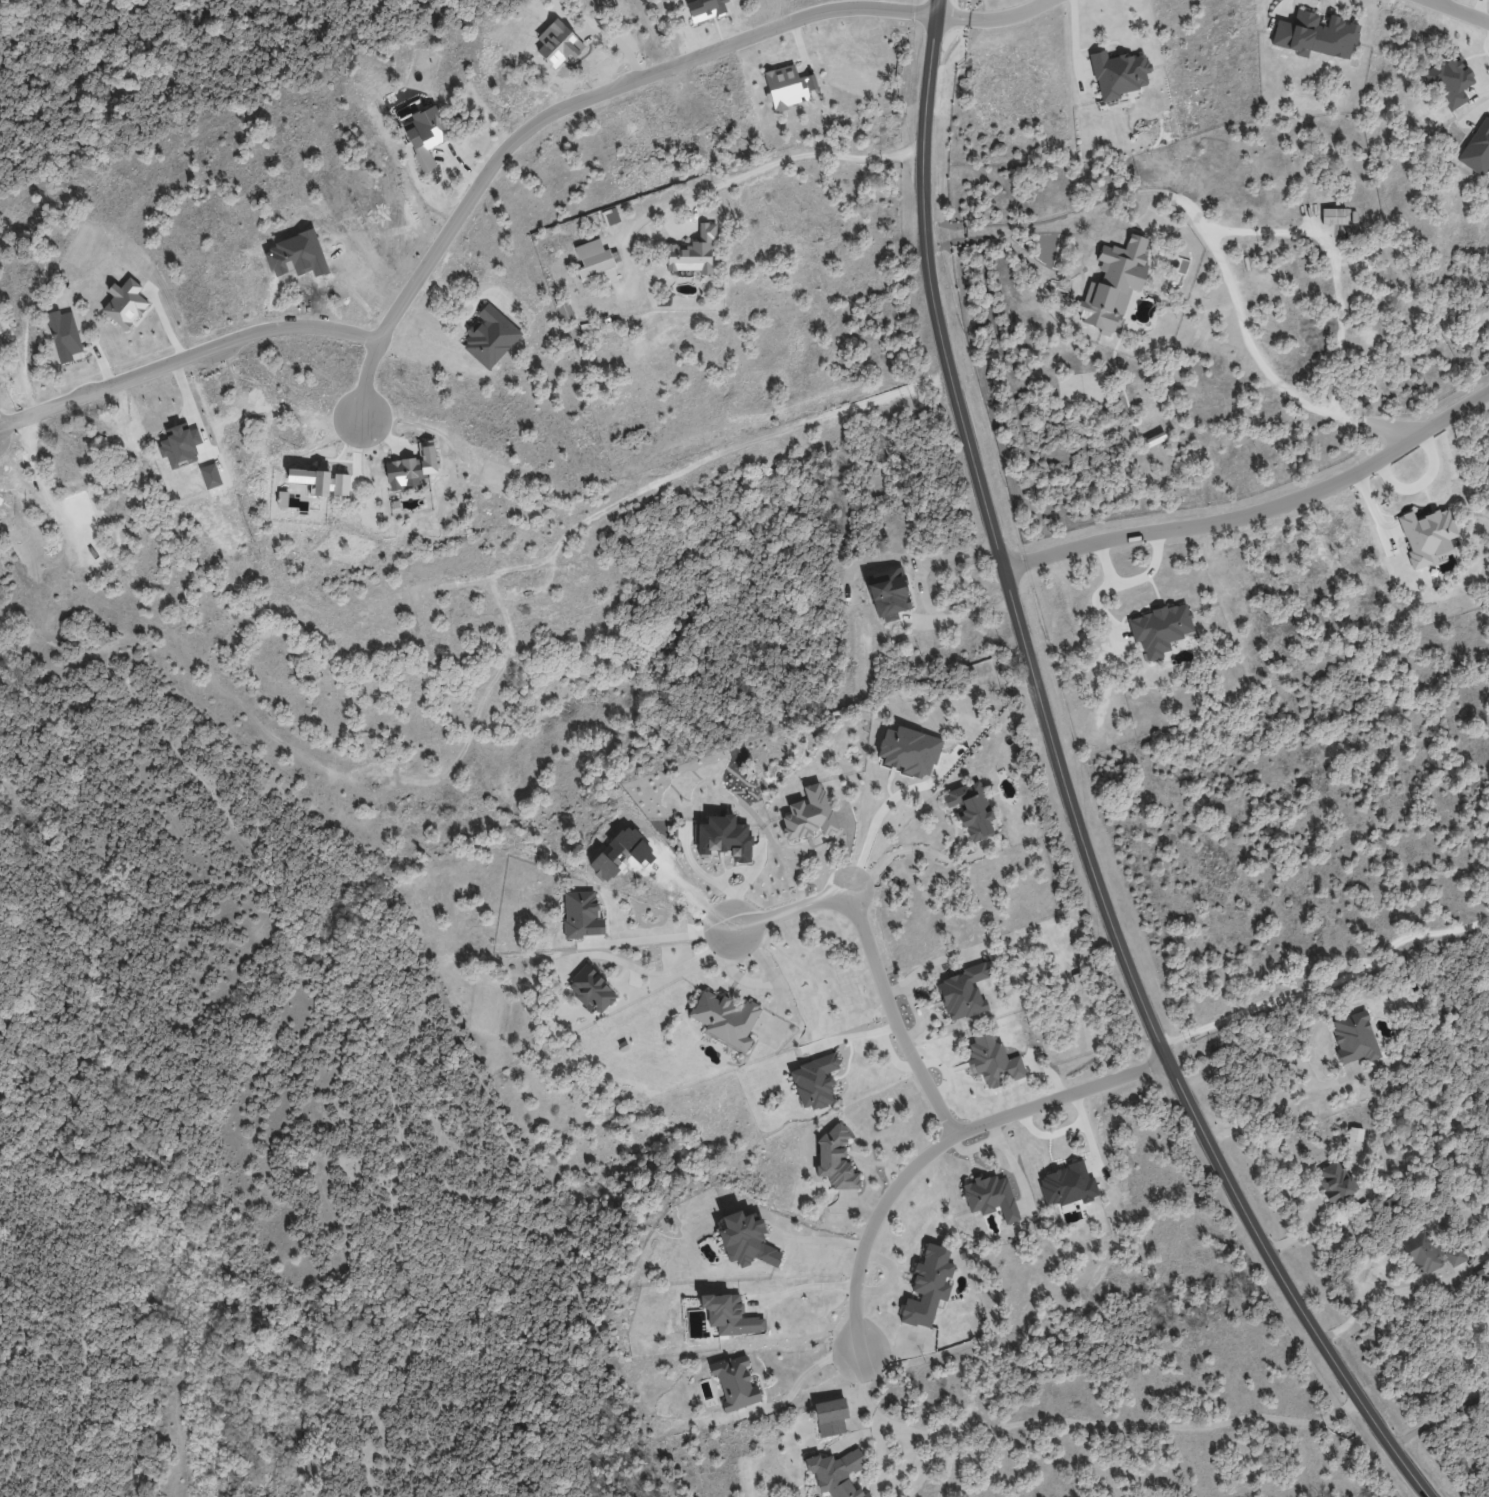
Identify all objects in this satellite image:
building: (705, 9)
road: (1458, 10)
building: (1315, 35)
building: (1118, 73)
building: (1448, 80)
road: (616, 86)
building: (785, 87)
building: (426, 136)
building: (1477, 149)
road: (768, 164)
building: (610, 216)
road: (1211, 239)
building: (693, 253)
building: (594, 257)
building: (1113, 284)
building: (125, 303)
building: (564, 310)
building: (65, 336)
road: (185, 357)
building: (411, 467)
road: (1257, 510)
building: (1426, 535)
building: (888, 593)
road: (922, 593)
building: (1159, 628)
road: (1065, 785)
road: (883, 804)
building: (971, 810)
building: (808, 814)
building: (724, 838)
road: (918, 847)
building: (582, 915)
road: (672, 933)
road: (874, 956)
road: (659, 971)
road: (2, 981)
road: (1327, 984)
building: (591, 989)
building: (963, 992)
building: (724, 1017)
road: (849, 1036)
building: (1354, 1037)
road: (891, 1054)
building: (993, 1061)
building: (814, 1082)
road: (1283, 1101)
building: (1355, 1134)
road: (937, 1145)
park: (259, 1148)
building: (835, 1160)
building: (1334, 1181)
building: (1066, 1185)
building: (991, 1196)
building: (745, 1240)
road: (821, 1240)
building: (1421, 1252)
building: (1455, 1255)
road: (77, 1284)
road: (804, 1285)
building: (928, 1286)
road: (1385, 1293)
building: (729, 1315)
road: (801, 1378)
building: (735, 1383)
building: (830, 1416)
road: (1440, 1417)
road: (1093, 1422)
building: (837, 1473)

